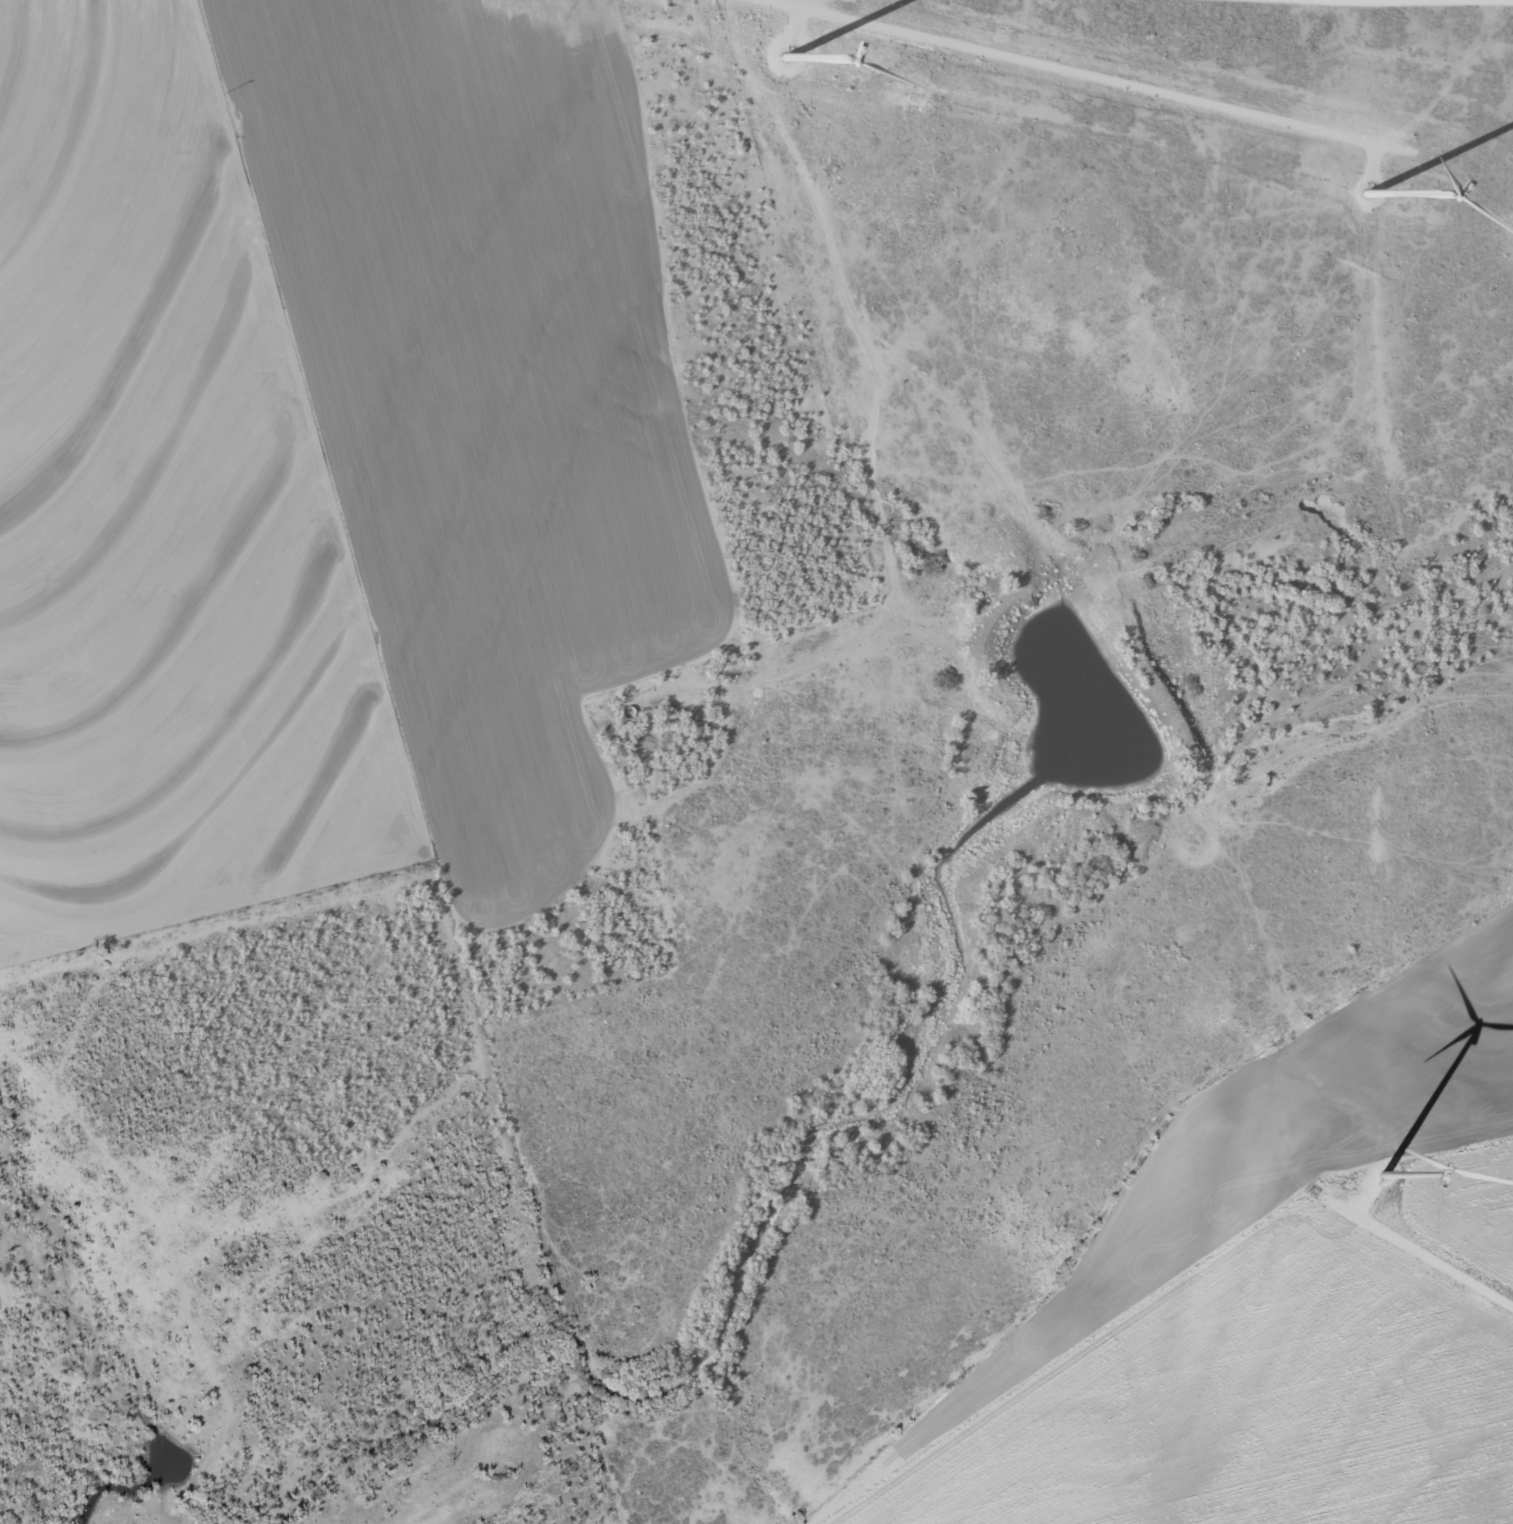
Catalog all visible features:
wind turbine: (786, 58)
wind turbine: (1370, 193)
wind turbine: (1386, 1174)

